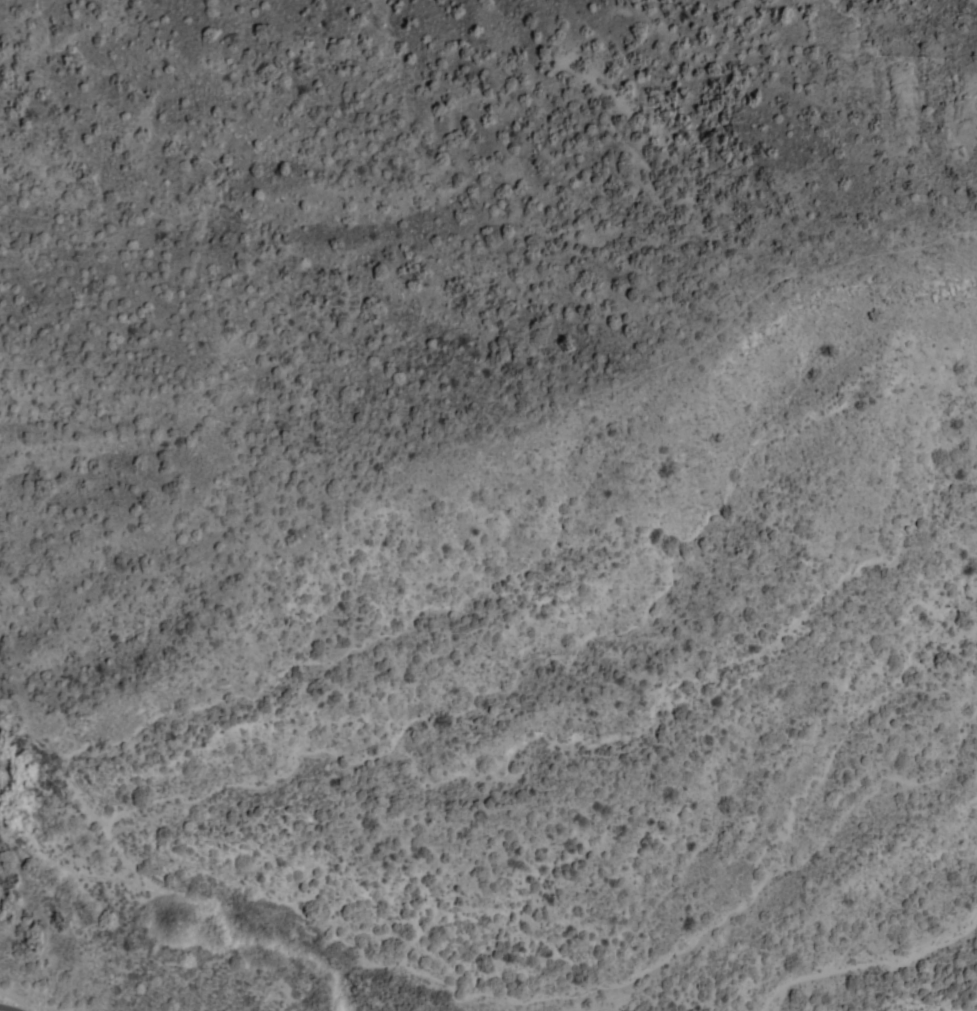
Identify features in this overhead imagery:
road: (8, 1003)

